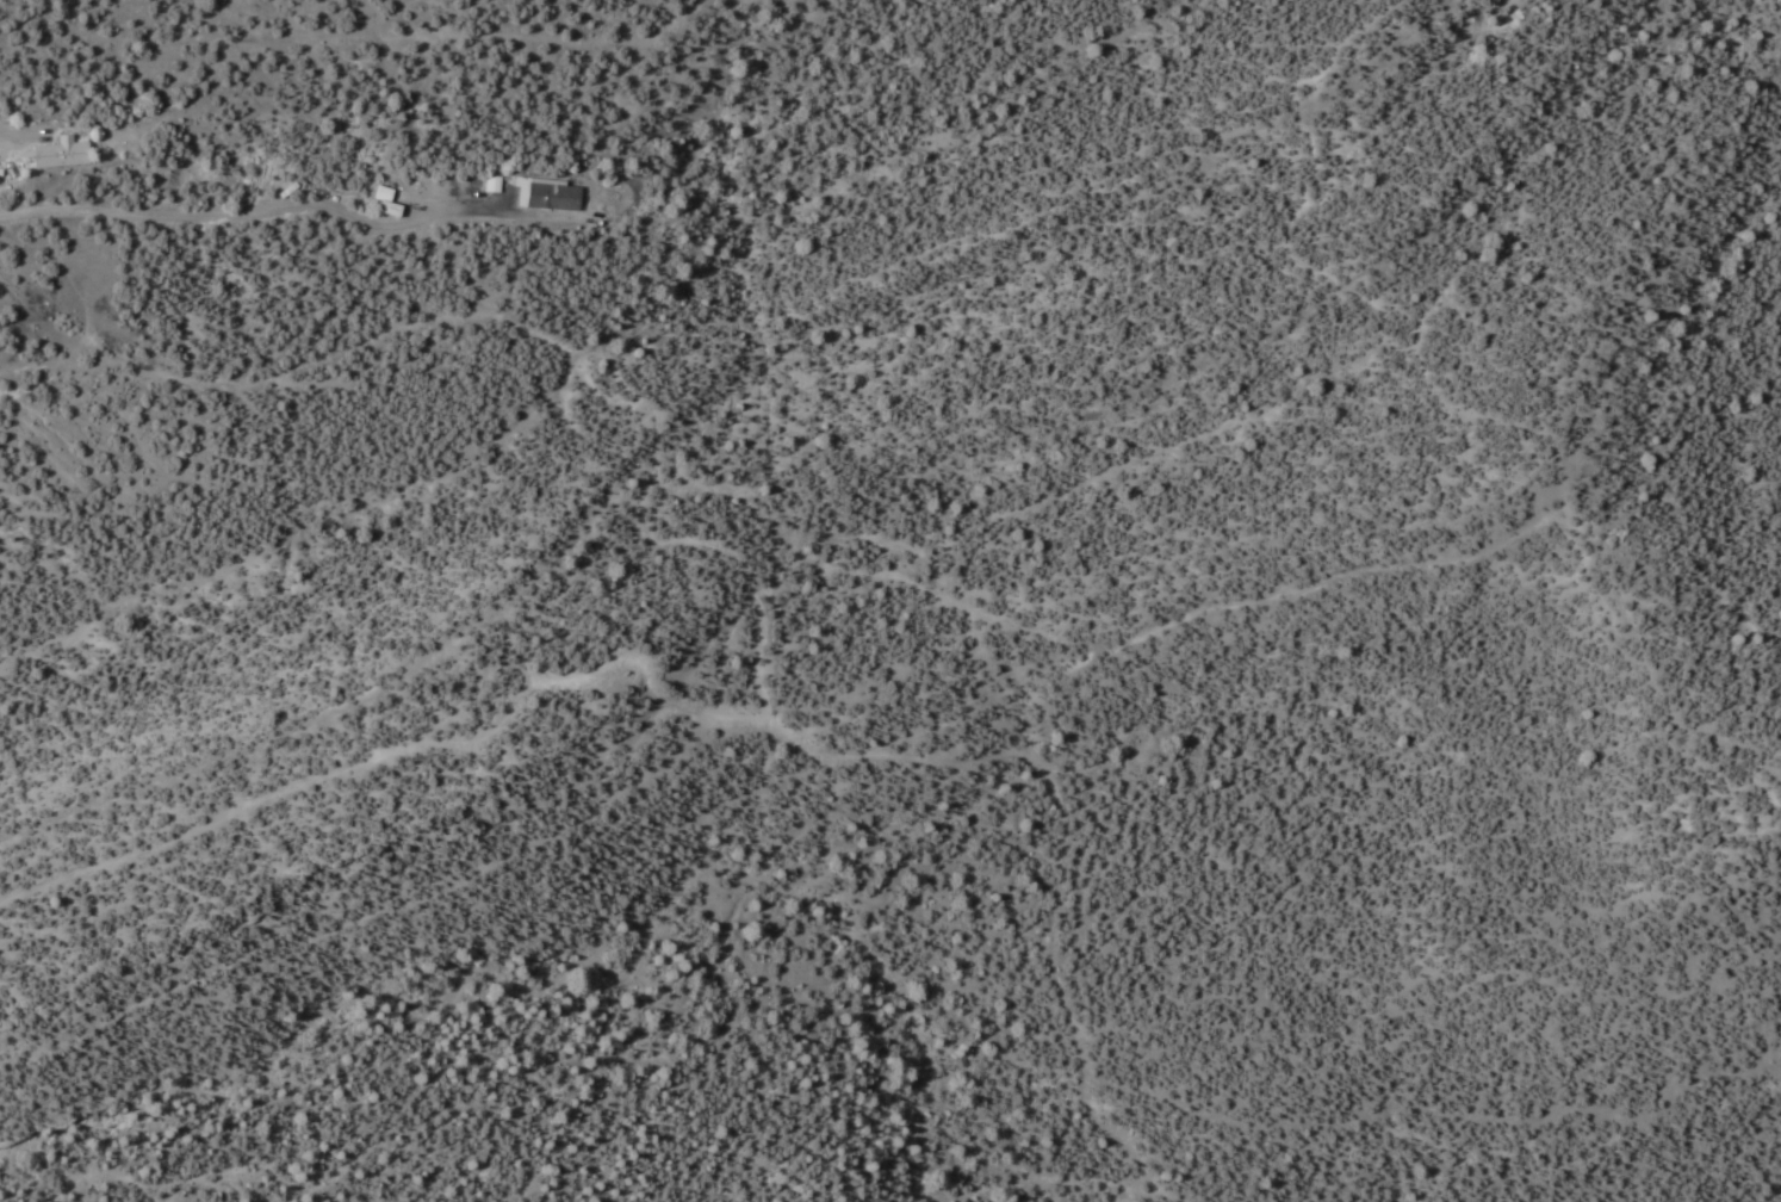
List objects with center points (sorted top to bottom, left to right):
building: (56, 154)
building: (550, 197)
road: (229, 209)

